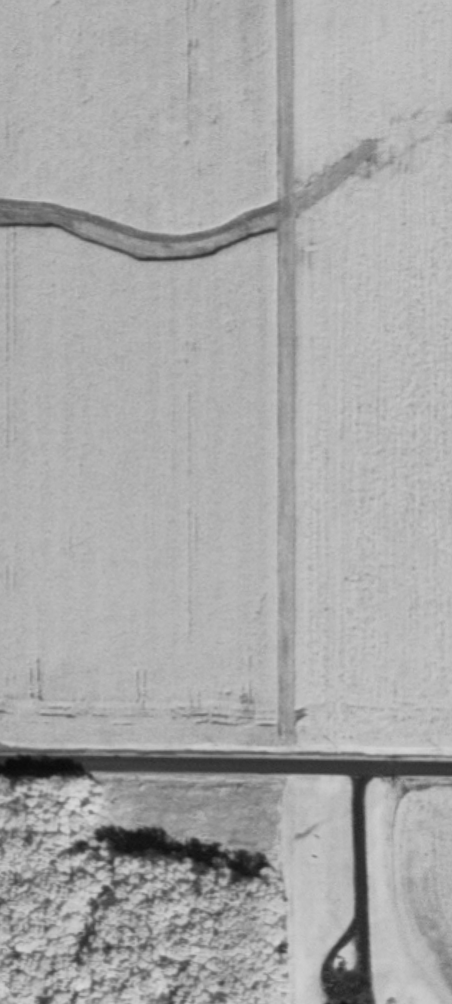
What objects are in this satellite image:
road: (226, 763)
road: (356, 843)
road: (338, 979)

